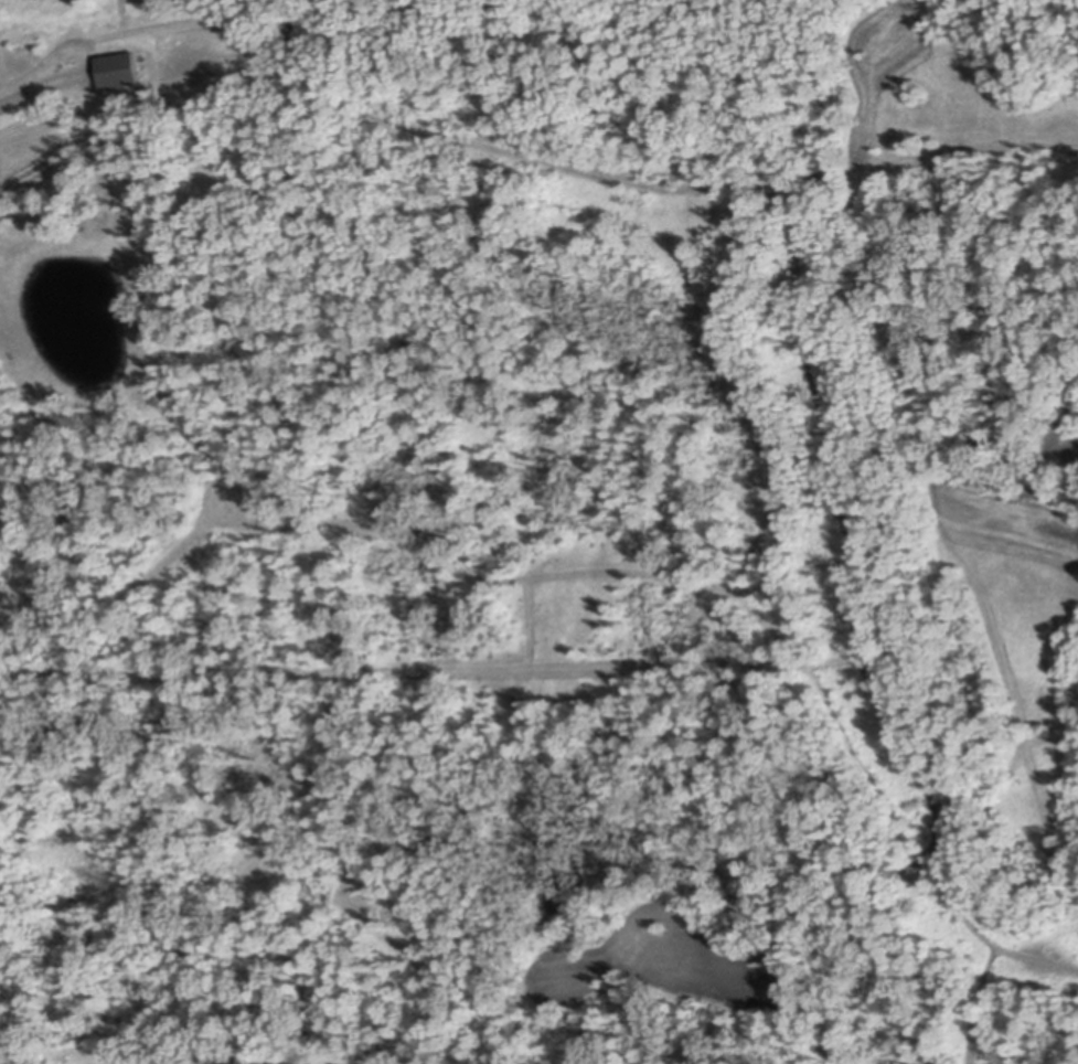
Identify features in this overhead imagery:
building: (116, 68)
road: (42, 87)
building: (242, 164)

